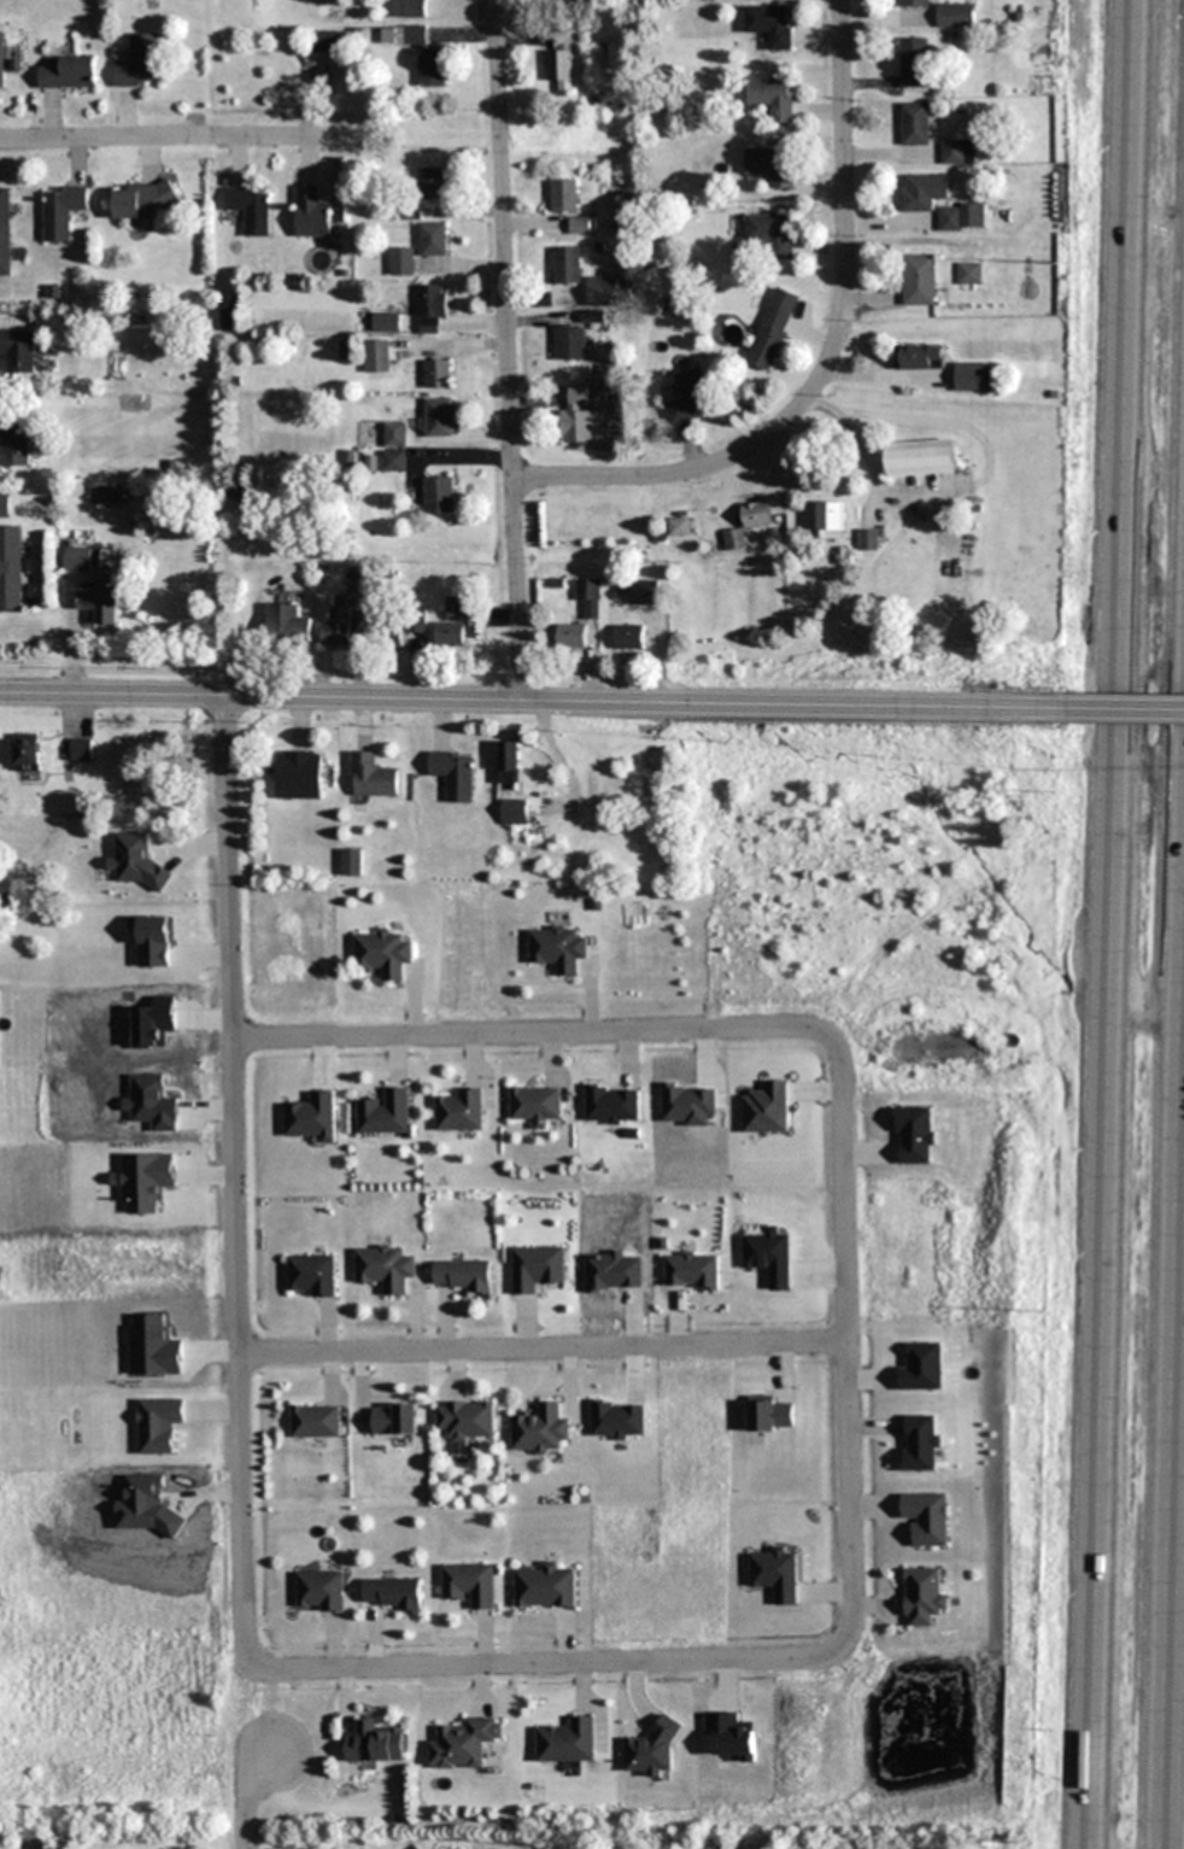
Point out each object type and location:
building: (913, 2)
building: (410, 8)
building: (955, 14)
building: (769, 24)
building: (328, 41)
building: (426, 58)
building: (1, 59)
building: (562, 59)
building: (913, 62)
building: (140, 64)
building: (69, 75)
building: (772, 95)
building: (915, 123)
road: (175, 137)
building: (959, 152)
building: (770, 165)
building: (432, 182)
building: (924, 192)
building: (563, 195)
building: (141, 201)
building: (251, 209)
building: (61, 212)
building: (312, 215)
building: (962, 217)
building: (579, 226)
building: (5, 232)
building: (772, 234)
building: (432, 239)
building: (401, 262)
building: (567, 265)
building: (969, 273)
building: (920, 279)
building: (591, 296)
building: (432, 309)
building: (774, 329)
building: (570, 341)
building: (18, 350)
road: (506, 351)
building: (920, 356)
building: (377, 357)
road: (831, 362)
building: (438, 373)
building: (973, 376)
building: (691, 397)
building: (578, 414)
building: (439, 416)
building: (394, 435)
building: (14, 441)
building: (921, 457)
building: (394, 461)
building: (439, 495)
building: (4, 505)
building: (756, 514)
building: (831, 515)
building: (679, 526)
building: (868, 539)
building: (82, 561)
building: (11, 568)
building: (896, 581)
building: (640, 590)
building: (590, 596)
building: (99, 607)
building: (458, 607)
building: (417, 621)
building: (287, 624)
building: (342, 625)
building: (387, 630)
building: (451, 634)
building: (573, 636)
building: (629, 637)
road: (529, 702)
road: (1121, 709)
building: (80, 750)
building: (27, 753)
building: (511, 762)
building: (298, 774)
building: (455, 774)
building: (373, 777)
building: (515, 811)
building: (351, 862)
road: (1110, 924)
building: (556, 948)
building: (382, 953)
road: (524, 1034)
building: (535, 1105)
building: (612, 1105)
building: (459, 1111)
building: (385, 1112)
road: (231, 1183)
building: (385, 1268)
building: (537, 1268)
building: (692, 1270)
building: (311, 1275)
building: (462, 1275)
road: (848, 1334)
road: (544, 1354)
building: (770, 1414)
building: (395, 1418)
building: (467, 1420)
building: (617, 1420)
building: (316, 1421)
building: (539, 1429)
building: (920, 1443)
building: (926, 1517)
building: (470, 1584)
building: (546, 1587)
building: (320, 1591)
building: (392, 1593)
building: (924, 1595)
road: (1178, 1631)
road: (550, 1669)
building: (568, 1742)
building: (375, 1743)
building: (464, 1743)
road: (245, 1804)

